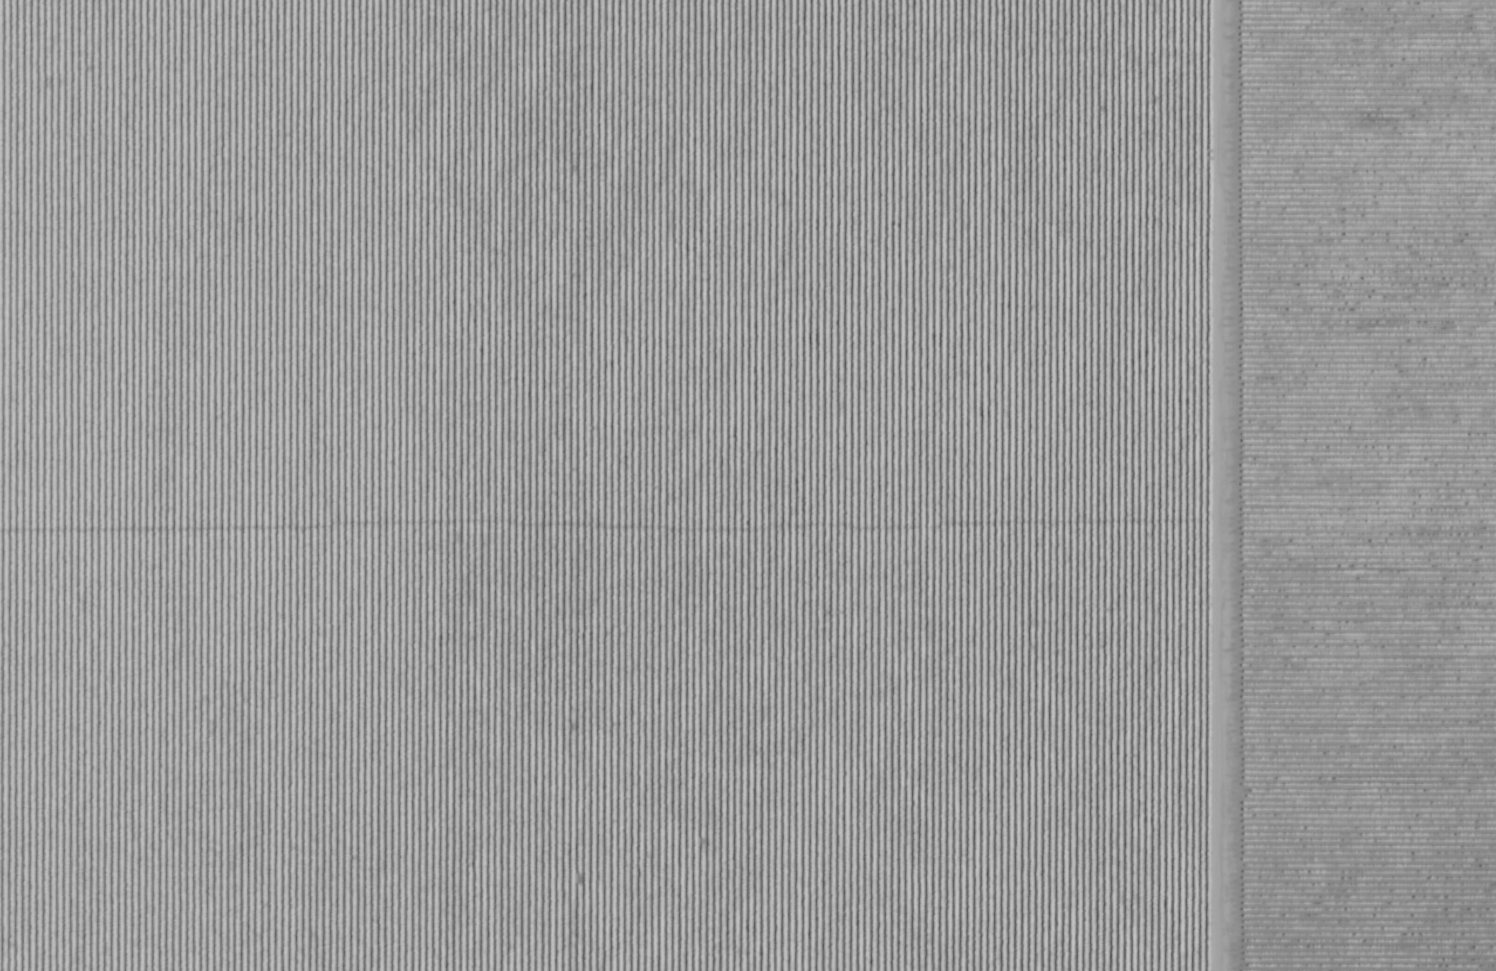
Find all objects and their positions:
crop: (748, 485)

